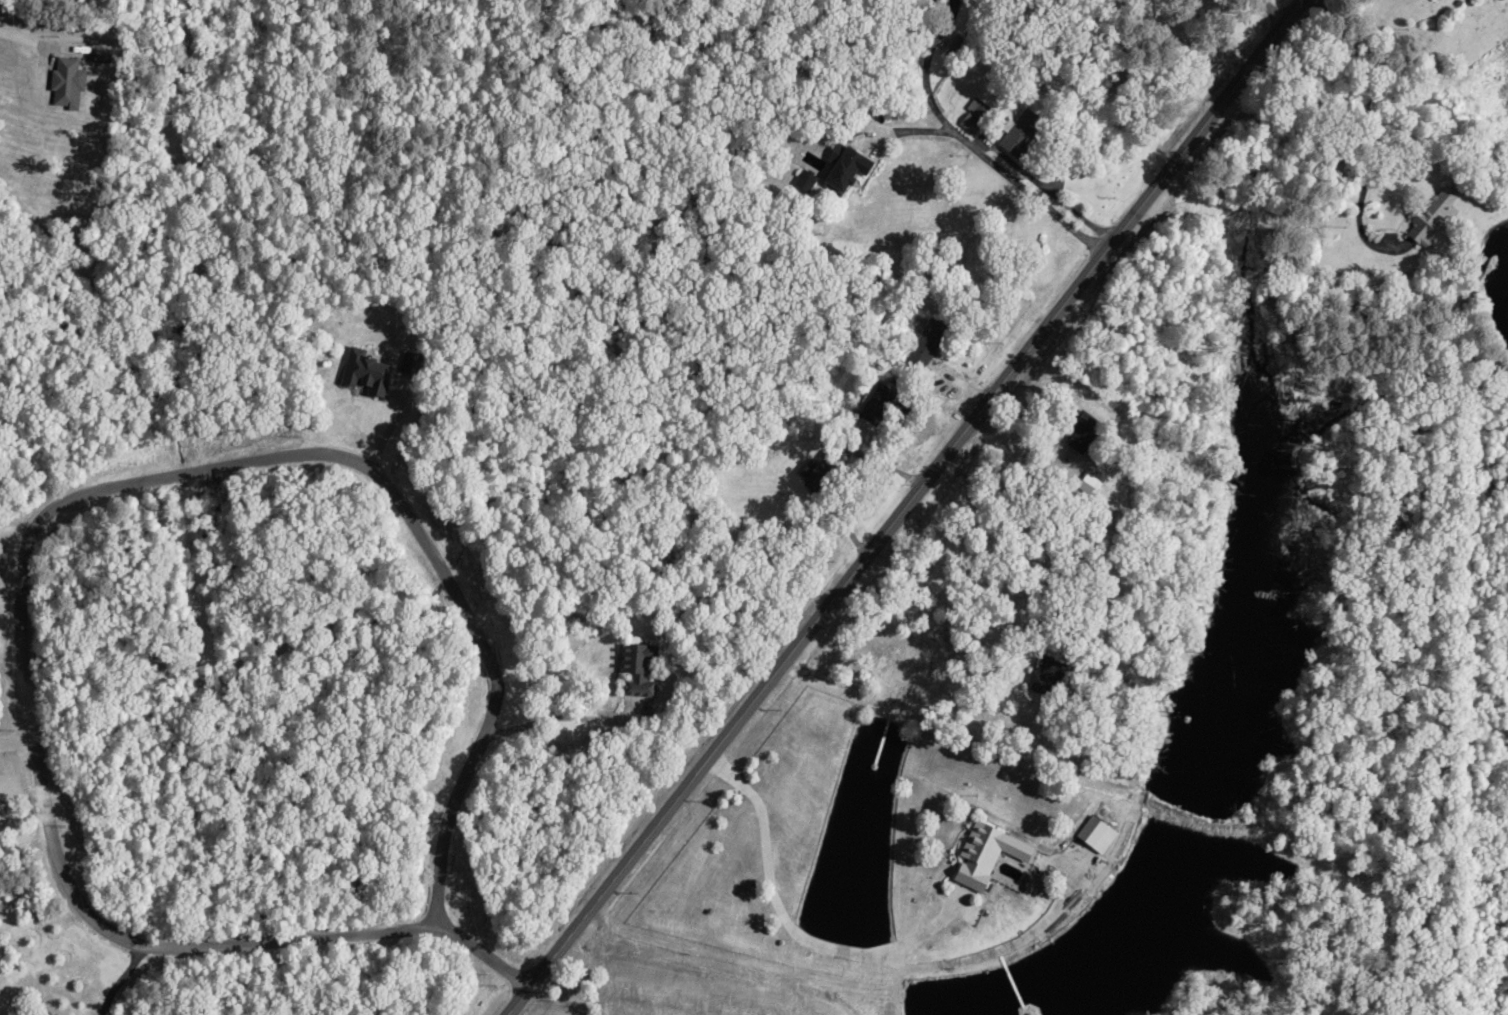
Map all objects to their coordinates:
building: (952, 48)
road: (1152, 57)
building: (975, 108)
road: (970, 109)
building: (1017, 133)
building: (841, 166)
building: (1432, 212)
building: (924, 342)
building: (364, 374)
building: (870, 404)
road: (817, 470)
building: (815, 472)
road: (1149, 472)
road: (917, 507)
road: (313, 631)
building: (635, 669)
building: (1040, 674)
building: (1093, 834)
road: (839, 848)
building: (983, 854)
road: (688, 956)

